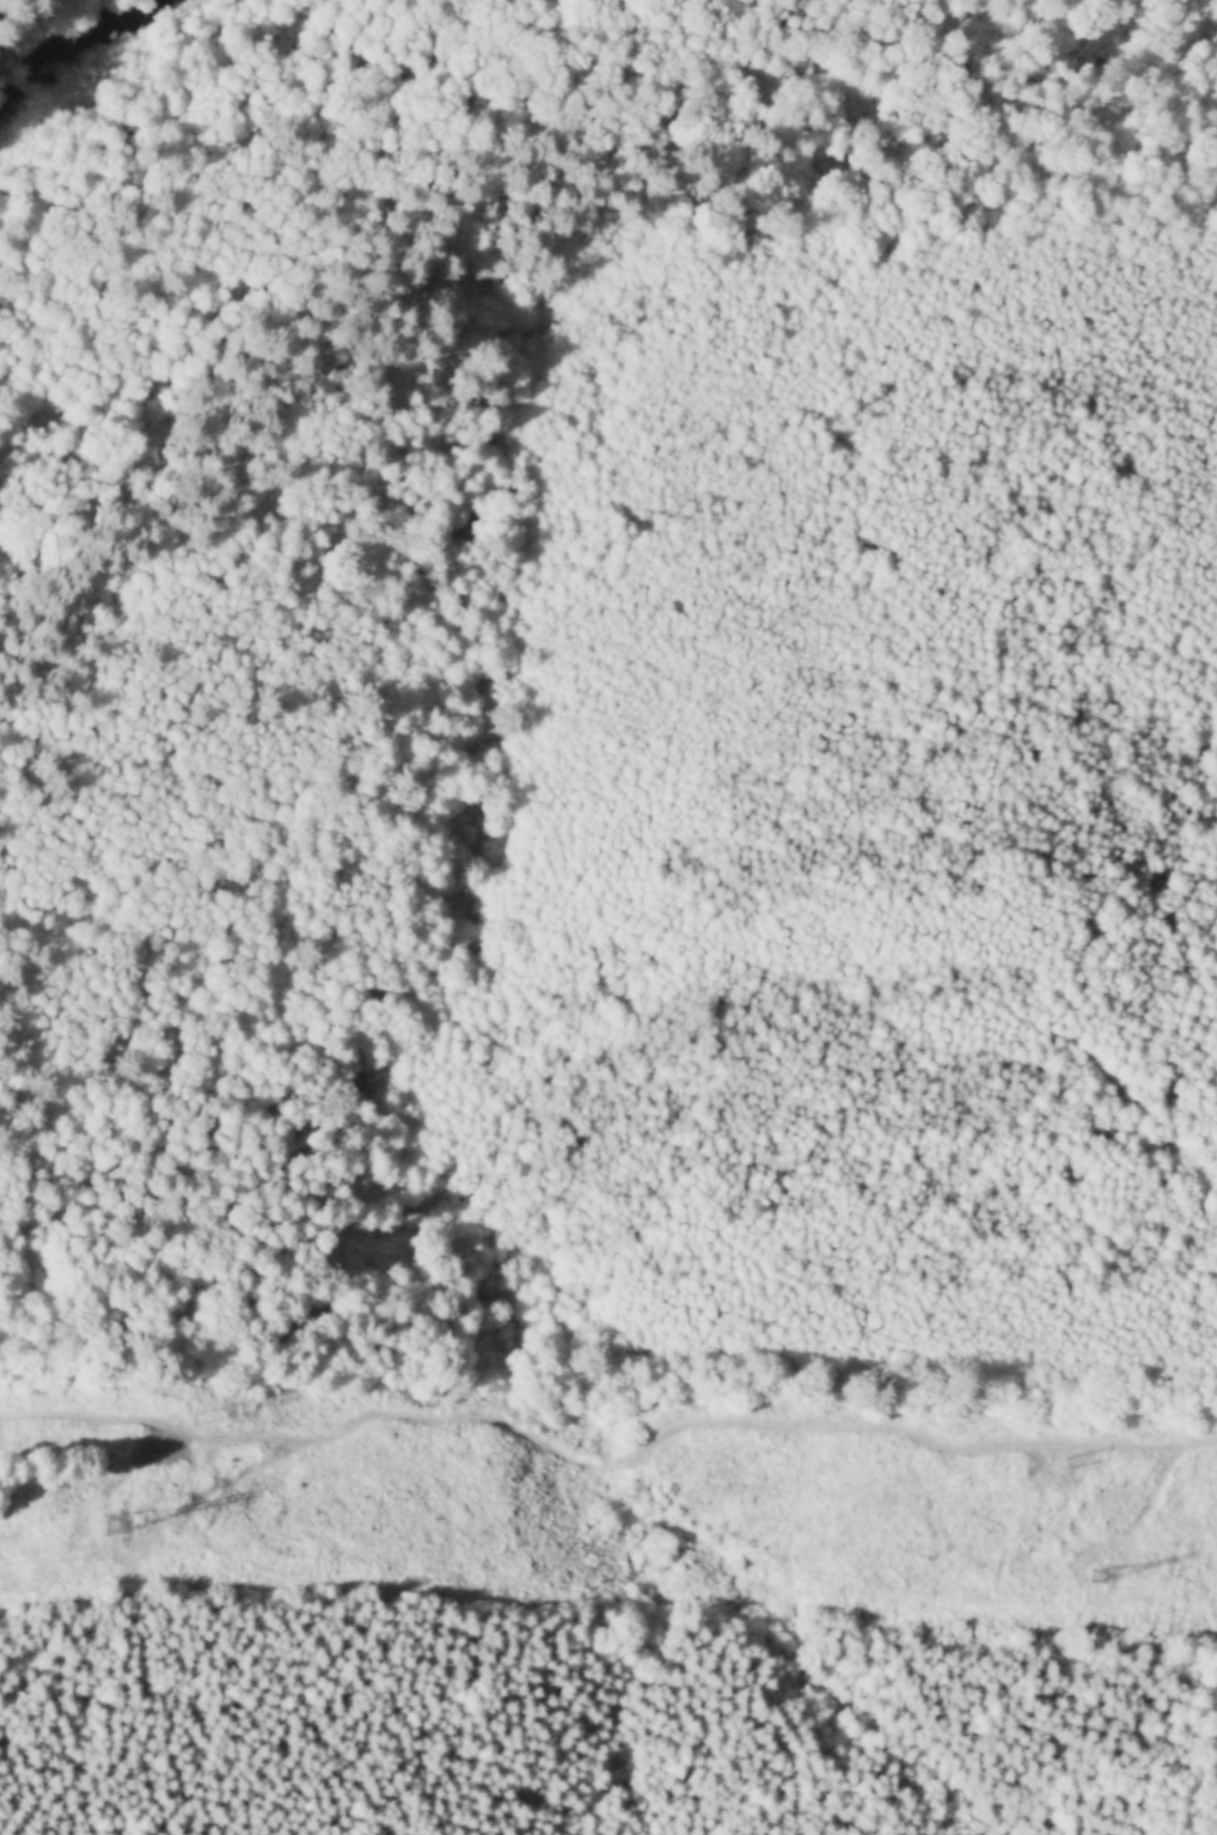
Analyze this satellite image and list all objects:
power tower: (198, 1424)
power tower: (1066, 1464)
road: (606, 1466)
power tower: (112, 1525)
power tower: (1094, 1579)

